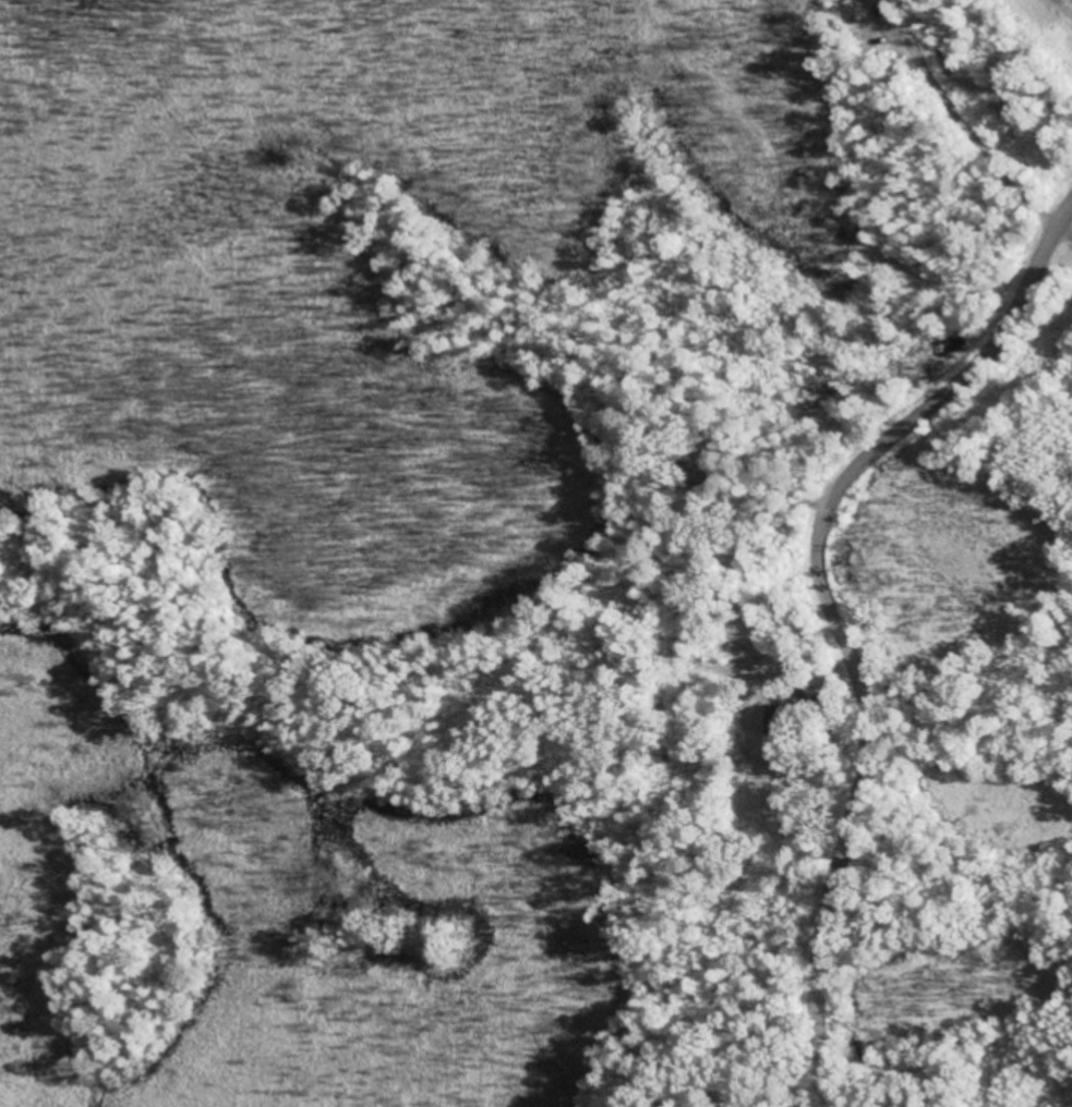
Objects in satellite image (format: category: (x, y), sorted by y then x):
road: (831, 611)
building: (781, 722)

